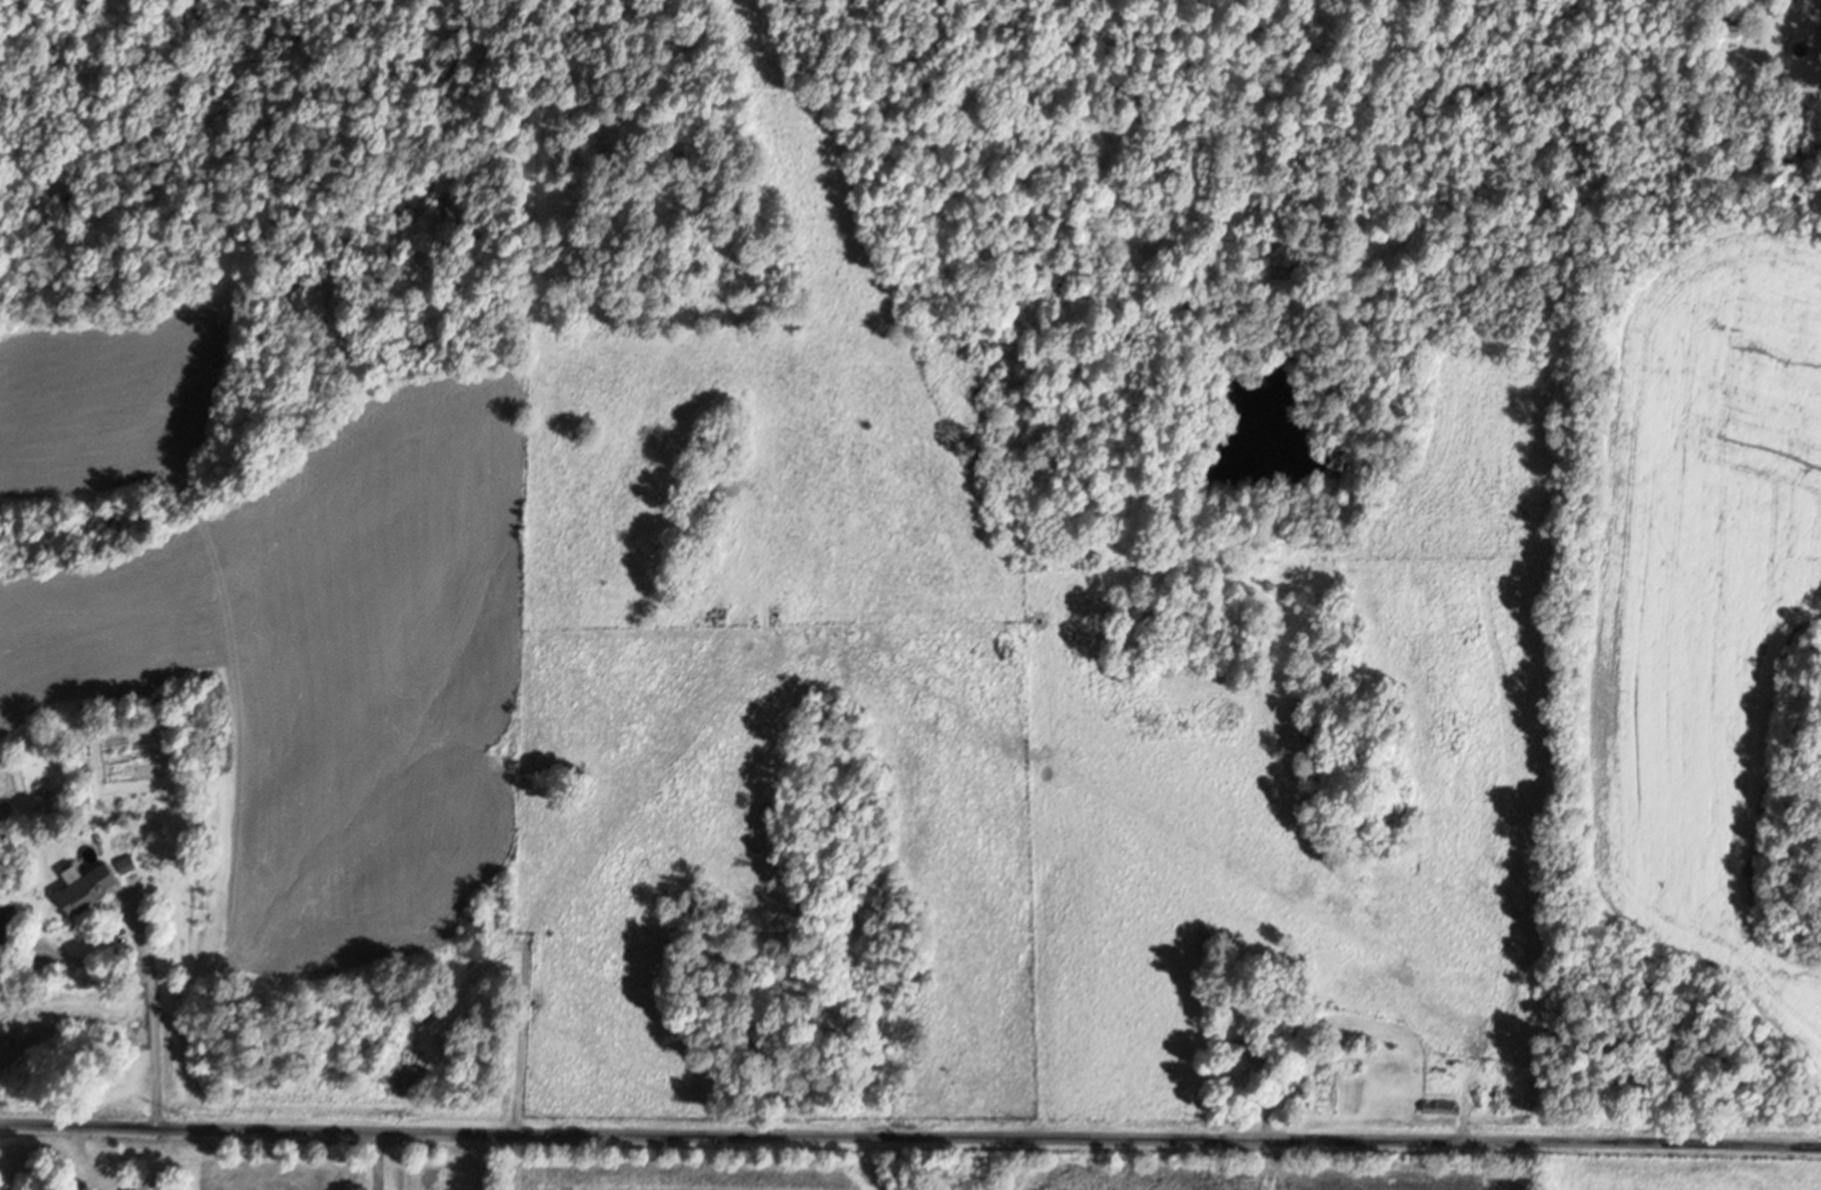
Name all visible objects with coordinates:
building: (92, 885)
building: (480, 938)
road: (148, 1013)
building: (1253, 1063)
road: (910, 1135)
road: (373, 1160)
road: (487, 1161)

